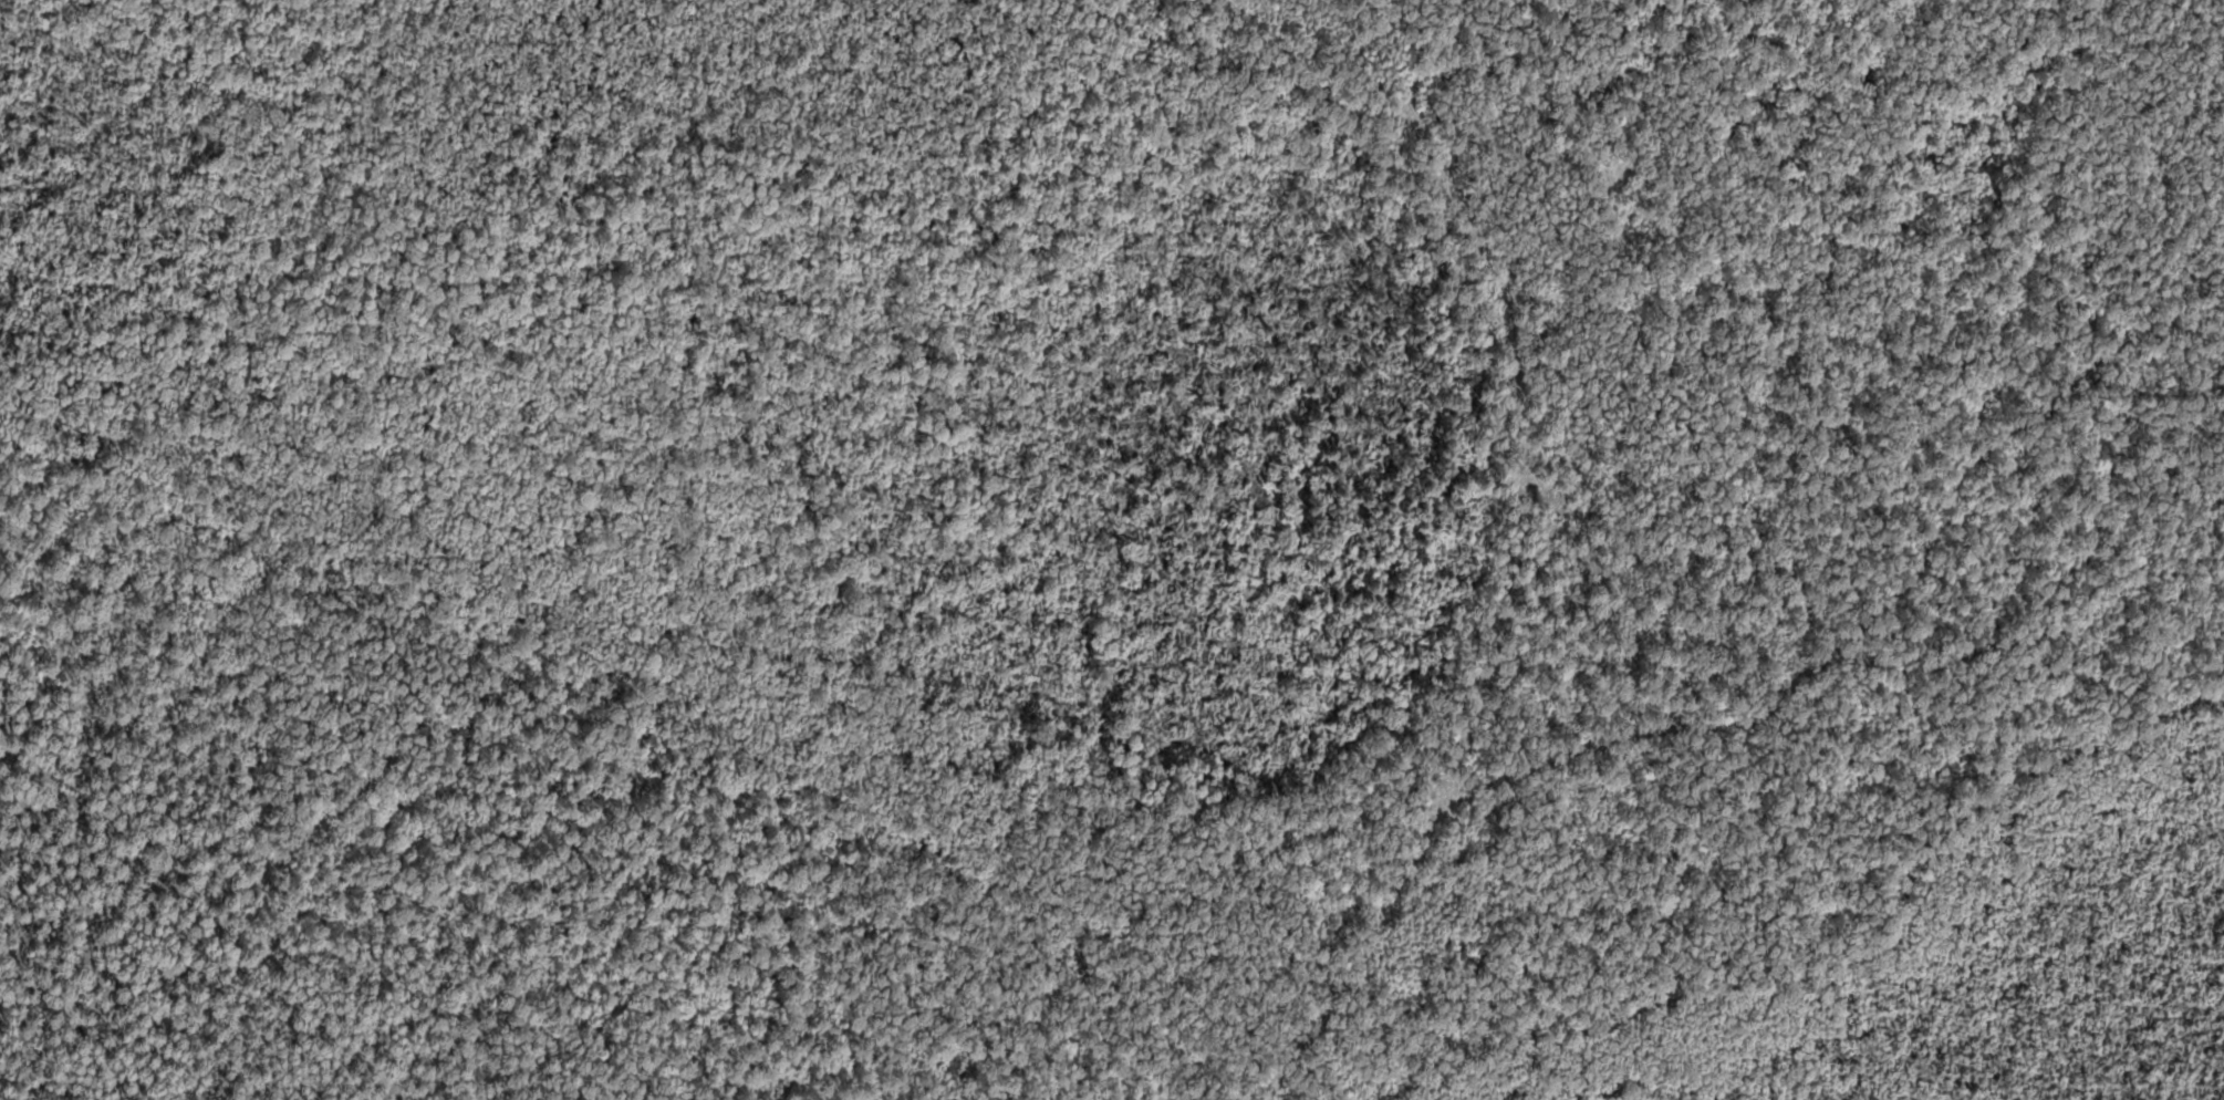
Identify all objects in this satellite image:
road: (1884, 565)
road: (1503, 582)

